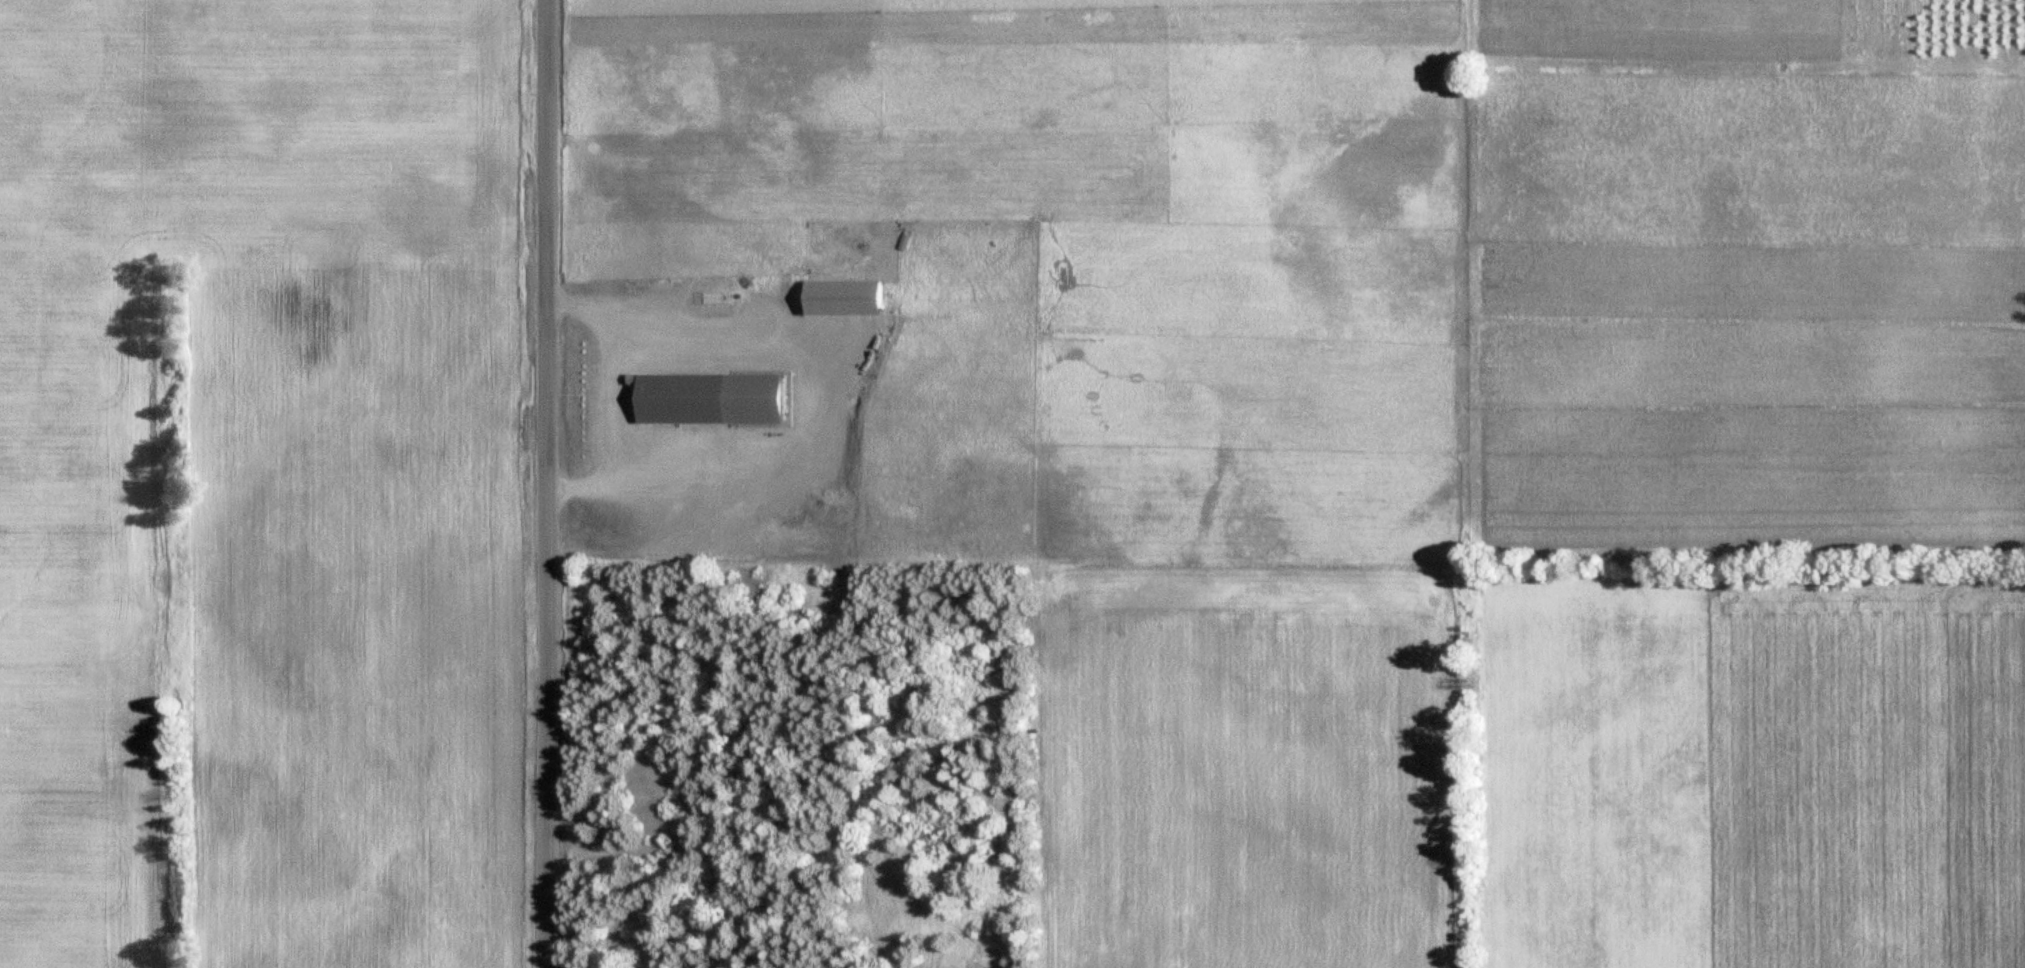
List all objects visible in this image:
building: (676, 397)
road: (554, 484)
crop: (75, 622)

